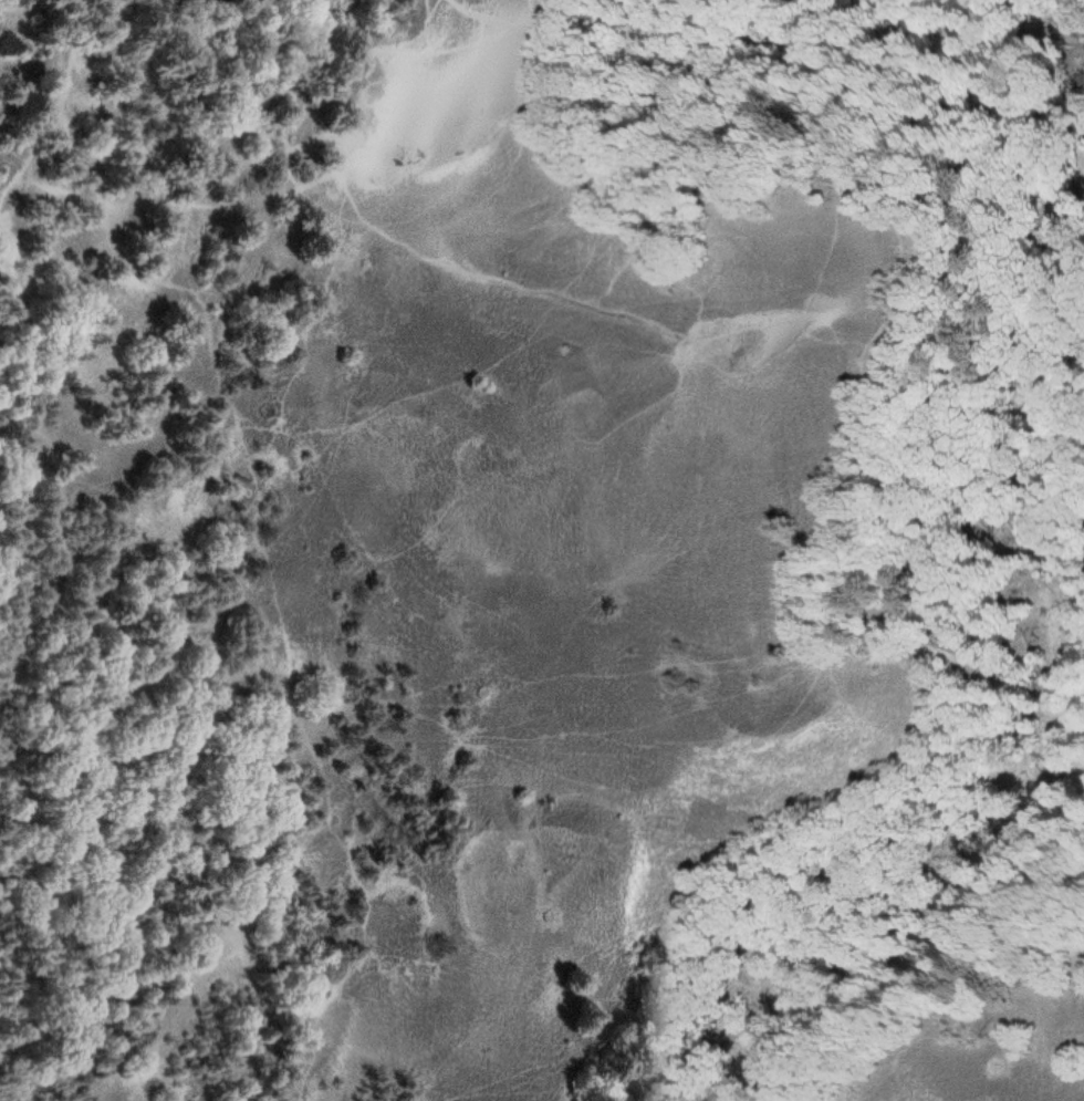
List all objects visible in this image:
road: (21, 3)
road: (133, 183)
park: (542, 550)
road: (226, 735)

